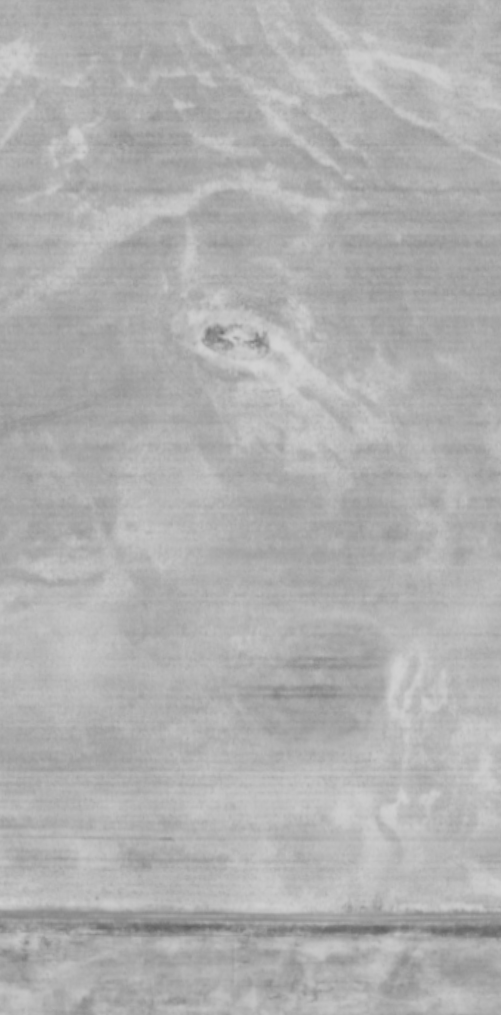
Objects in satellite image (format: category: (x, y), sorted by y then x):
road: (250, 913)

